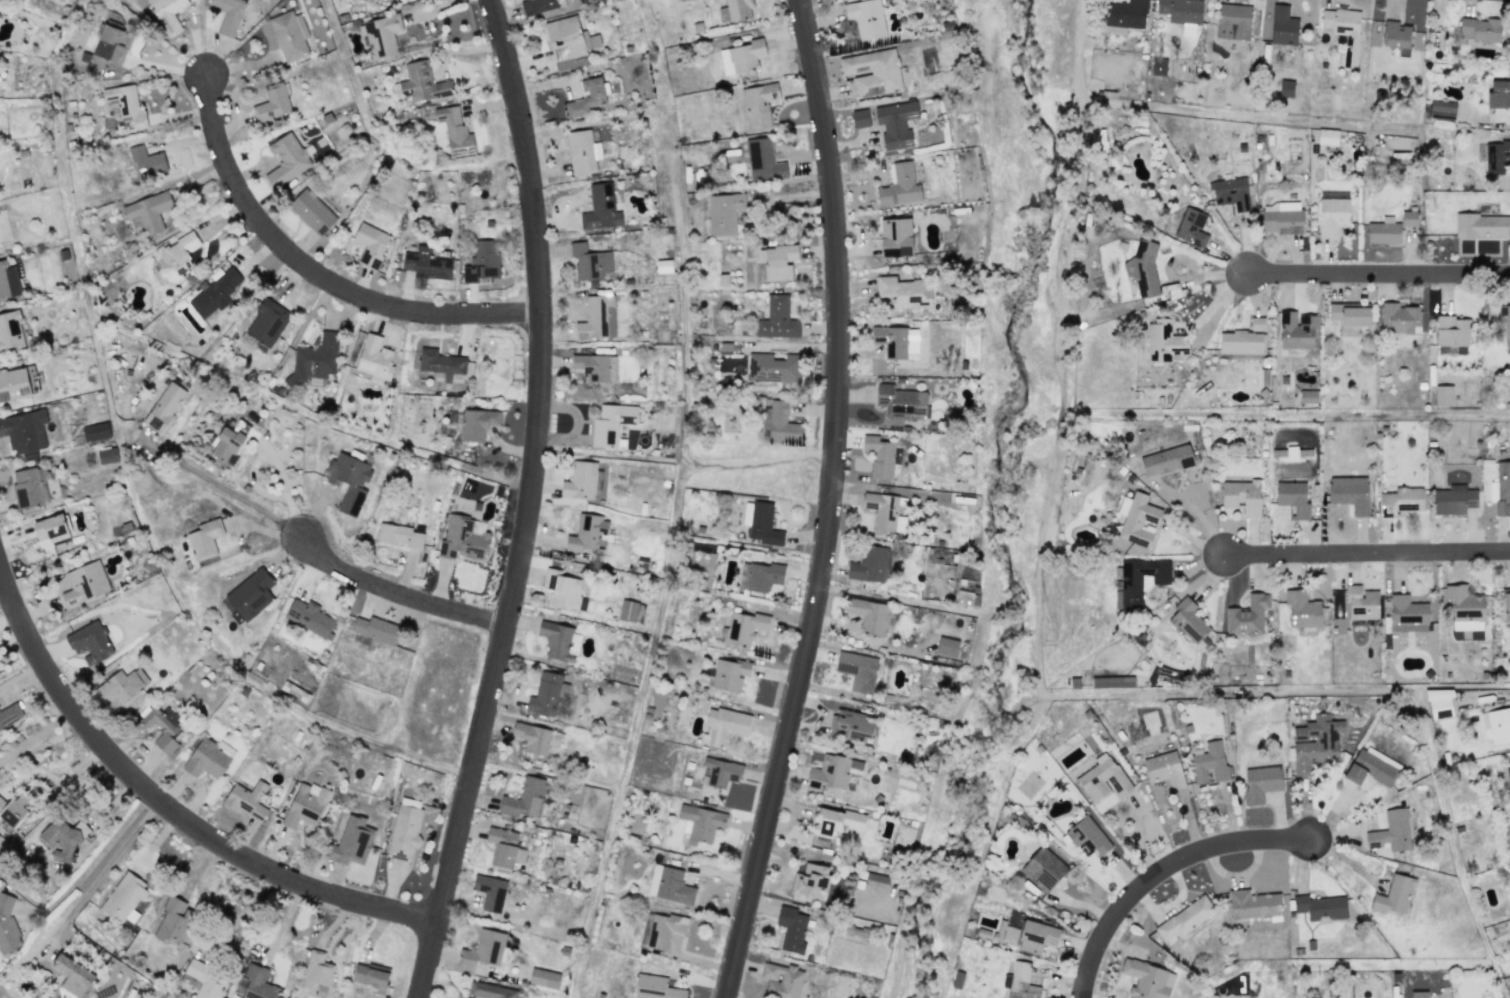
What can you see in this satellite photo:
building: (537, 5)
building: (735, 10)
building: (1181, 12)
building: (1123, 13)
building: (167, 14)
building: (228, 15)
building: (865, 17)
building: (1233, 21)
building: (1342, 25)
building: (1282, 26)
building: (1480, 29)
building: (1389, 33)
building: (382, 35)
building: (288, 36)
building: (112, 44)
building: (741, 56)
building: (1158, 66)
building: (872, 72)
building: (422, 82)
building: (1285, 88)
building: (1497, 93)
building: (586, 97)
building: (272, 102)
building: (126, 104)
building: (758, 104)
building: (1442, 107)
building: (859, 117)
building: (895, 123)
building: (1327, 136)
building: (582, 151)
building: (1498, 155)
building: (286, 159)
building: (763, 160)
building: (146, 161)
building: (899, 185)
building: (600, 208)
building: (148, 211)
building: (311, 211)
building: (724, 213)
building: (1332, 216)
building: (1282, 217)
road: (200, 222)
building: (1482, 225)
building: (1191, 227)
building: (1383, 231)
building: (896, 235)
building: (370, 244)
building: (177, 253)
building: (482, 261)
building: (589, 261)
building: (779, 261)
building: (426, 263)
building: (1143, 270)
road: (314, 272)
road: (1377, 273)
building: (8, 279)
building: (216, 291)
building: (903, 292)
building: (1349, 313)
building: (597, 318)
building: (1399, 318)
building: (777, 319)
road: (684, 320)
building: (267, 322)
building: (1504, 325)
building: (1296, 329)
building: (10, 331)
building: (1452, 331)
building: (1243, 339)
building: (1164, 341)
building: (374, 357)
building: (314, 359)
building: (440, 361)
building: (595, 366)
building: (772, 368)
building: (18, 382)
building: (1443, 395)
building: (1307, 396)
building: (901, 402)
building: (164, 407)
road: (1349, 412)
building: (477, 423)
building: (611, 423)
building: (779, 424)
building: (24, 430)
building: (95, 431)
building: (227, 443)
building: (1291, 453)
building: (107, 455)
building: (879, 455)
building: (1166, 460)
building: (349, 480)
building: (580, 480)
building: (31, 486)
building: (1349, 493)
road: (239, 495)
building: (1241, 496)
building: (1292, 498)
building: (1454, 499)
building: (1401, 500)
road: (526, 502)
road: (826, 502)
building: (882, 511)
building: (746, 513)
road: (1198, 513)
building: (1137, 519)
building: (763, 524)
building: (52, 530)
building: (588, 534)
building: (398, 535)
building: (204, 538)
building: (463, 538)
road: (1367, 552)
building: (870, 565)
building: (763, 576)
building: (84, 583)
building: (562, 588)
road: (399, 593)
building: (251, 594)
building: (963, 597)
building: (1360, 602)
building: (1464, 603)
building: (1506, 605)
building: (1302, 609)
building: (630, 611)
building: (1407, 614)
building: (869, 615)
building: (1247, 615)
building: (309, 617)
building: (1188, 620)
building: (1467, 625)
building: (743, 627)
building: (375, 629)
building: (556, 640)
building: (91, 641)
building: (946, 646)
road: (647, 664)
building: (857, 670)
building: (729, 674)
building: (121, 686)
building: (544, 694)
building: (1439, 703)
building: (10, 715)
building: (724, 725)
building: (850, 725)
building: (1496, 726)
building: (162, 727)
building: (531, 737)
road: (38, 741)
building: (1316, 742)
building: (208, 758)
building: (1210, 762)
building: (1371, 767)
building: (1164, 769)
building: (1508, 771)
building: (720, 772)
building: (832, 772)
building: (1102, 778)
building: (1260, 783)
building: (524, 799)
building: (247, 800)
building: (304, 805)
road: (169, 807)
building: (12, 811)
building: (835, 821)
building: (699, 823)
building: (1391, 831)
building: (404, 833)
building: (1087, 837)
building: (63, 838)
building: (351, 842)
building: (502, 846)
road: (91, 866)
building: (1043, 868)
road: (1159, 871)
road: (105, 875)
building: (810, 880)
building: (669, 885)
building: (489, 892)
building: (1393, 895)
building: (123, 898)
building: (1252, 904)
building: (1320, 907)
building: (1183, 919)
building: (174, 920)
building: (7, 926)
building: (791, 928)
building: (663, 929)
building: (1031, 935)
building: (483, 949)
building: (316, 973)
building: (73, 975)
building: (369, 975)
building: (544, 978)
building: (1147, 979)
building: (203, 980)
building: (781, 980)
building: (1021, 982)
building: (255, 983)
building: (655, 987)
building: (488, 991)

